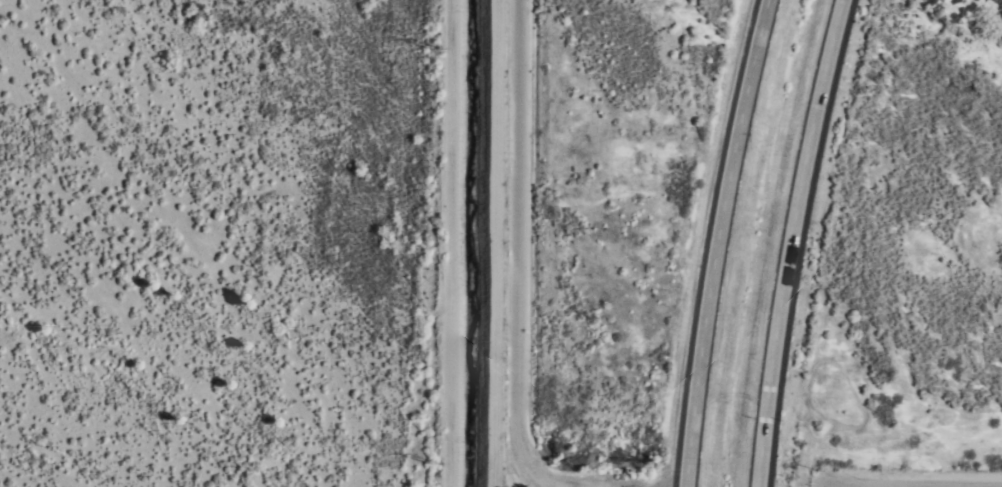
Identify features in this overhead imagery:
power tower: (437, 47)
road: (715, 241)
road: (791, 241)
road: (513, 249)
power tower: (434, 455)
road: (909, 486)

